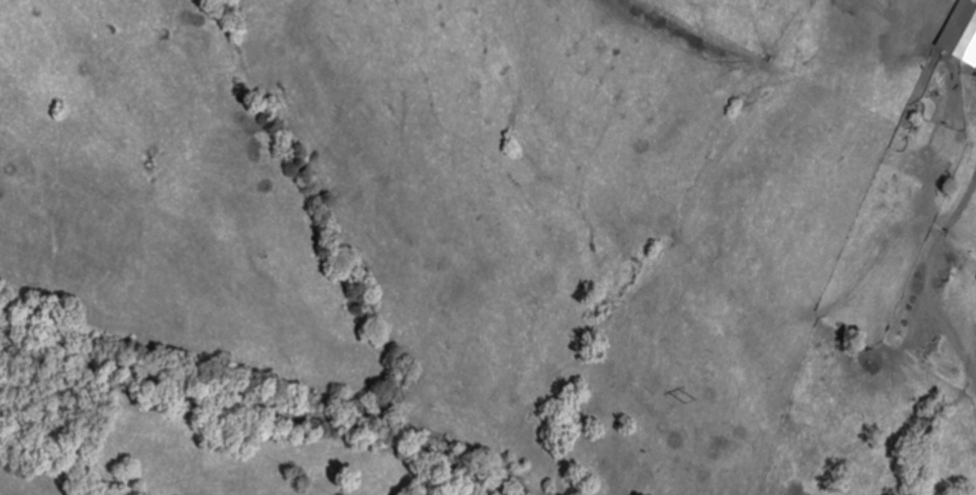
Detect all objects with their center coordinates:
building: (962, 30)

